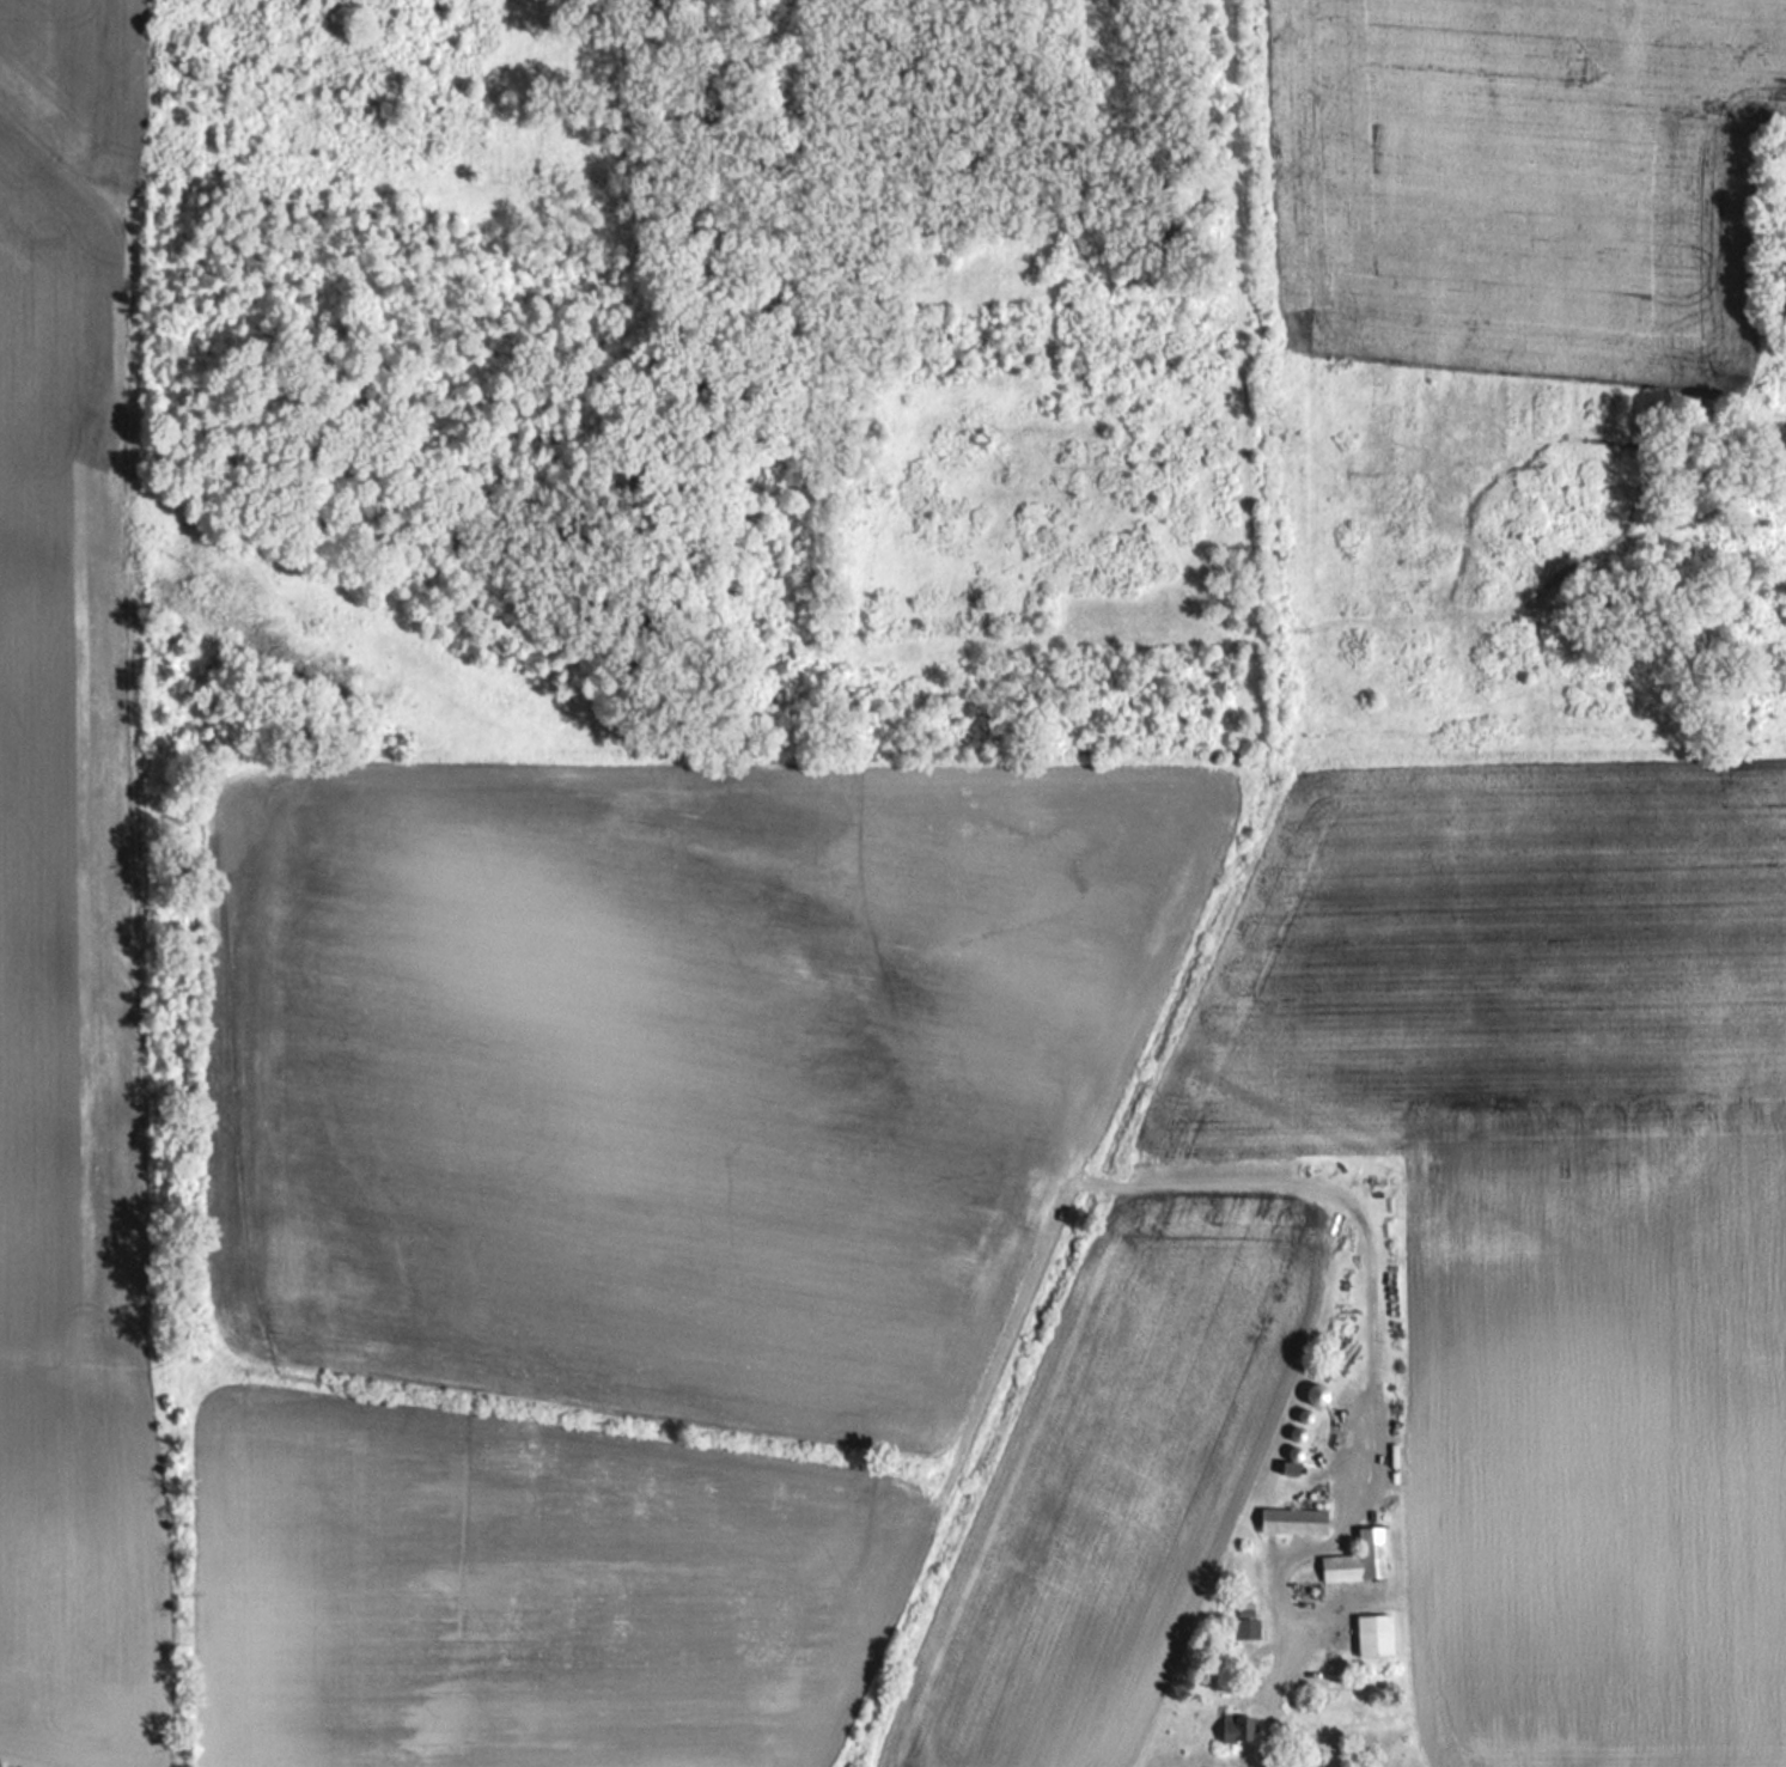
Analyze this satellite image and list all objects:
building: (1297, 1521)
building: (1363, 1559)
building: (1378, 1634)
road: (1282, 1638)

